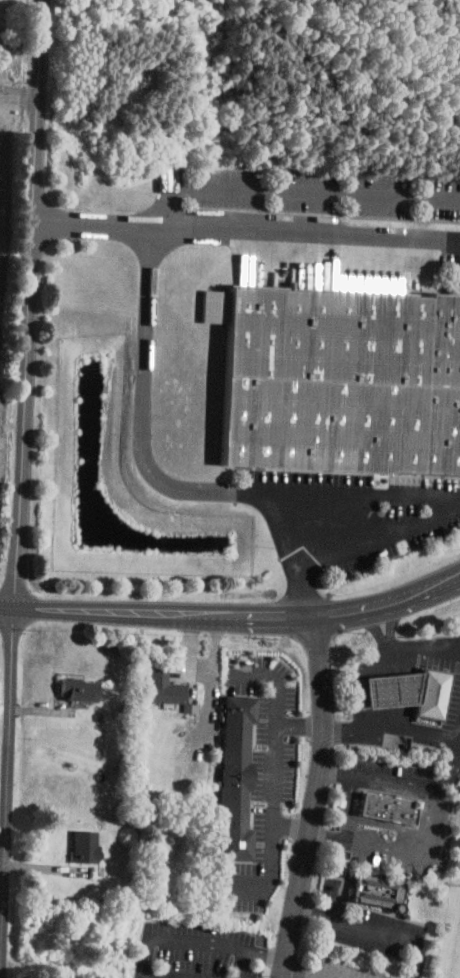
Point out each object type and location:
road: (294, 190)
road: (87, 223)
road: (144, 326)
building: (342, 379)
road: (18, 489)
road: (392, 494)
road: (383, 531)
road: (233, 616)
road: (403, 647)
road: (356, 680)
road: (391, 688)
building: (83, 690)
building: (171, 690)
building: (431, 693)
road: (280, 705)
road: (392, 728)
building: (235, 776)
road: (443, 777)
road: (275, 796)
road: (318, 800)
road: (346, 806)
building: (387, 806)
road: (427, 819)
road: (293, 827)
building: (88, 847)
road: (230, 886)
building: (375, 888)
road: (375, 928)
road: (178, 940)
road: (251, 949)
road: (298, 973)

